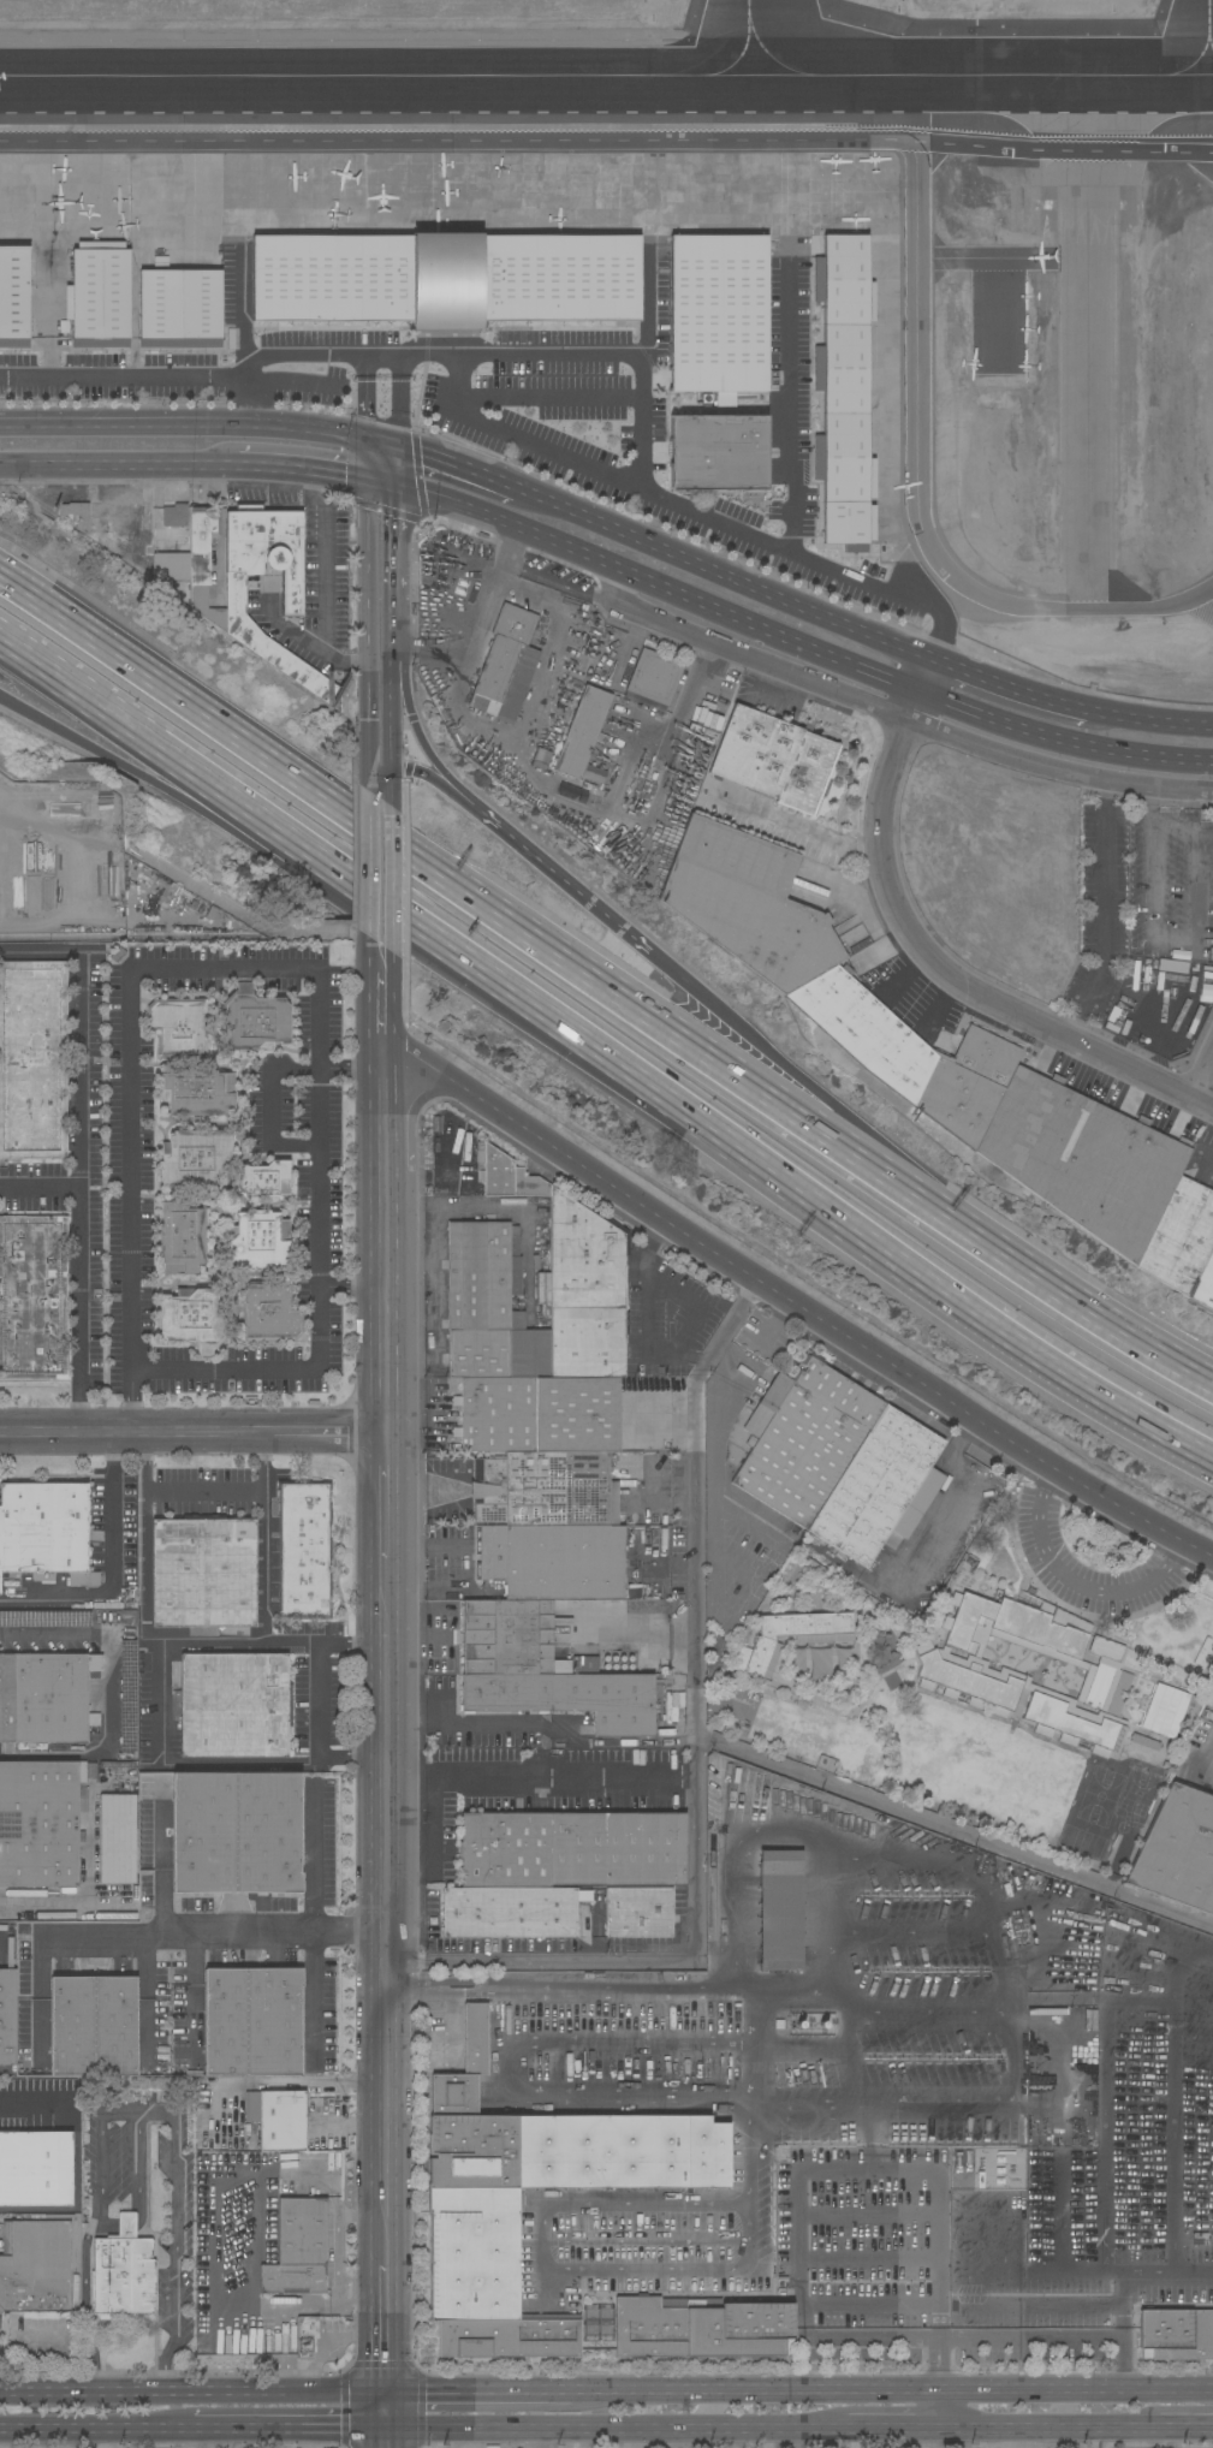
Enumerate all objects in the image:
airport taxiway: (751, 38)
airport taxiway: (1208, 42)
airport taxiway: (606, 77)
road: (813, 144)
airport: (674, 272)
building: (445, 279)
building: (16, 295)
building: (99, 295)
road: (641, 304)
building: (180, 307)
road: (243, 314)
building: (718, 315)
road: (381, 360)
road: (291, 384)
building: (844, 388)
road: (365, 400)
road: (549, 402)
road: (244, 403)
road: (790, 404)
road: (398, 405)
road: (184, 426)
traffic signals: (367, 442)
road: (382, 447)
traffic signals: (398, 452)
building: (719, 452)
road: (367, 464)
road: (119, 467)
road: (457, 469)
road: (303, 471)
road: (398, 473)
traffic signals: (367, 486)
road: (382, 489)
traffic signals: (398, 494)
road: (102, 498)
road: (698, 513)
building: (174, 516)
building: (77, 518)
road: (396, 537)
road: (327, 559)
building: (186, 564)
parking lot: (313, 570)
road: (724, 576)
road: (557, 582)
road: (658, 592)
building: (291, 593)
road: (392, 625)
road: (367, 637)
road: (308, 643)
building: (506, 666)
building: (654, 677)
road: (924, 677)
road: (399, 689)
road: (1009, 689)
building: (440, 706)
road: (894, 714)
road: (388, 720)
road: (1150, 721)
road: (495, 729)
building: (582, 731)
road: (147, 733)
road: (420, 735)
road: (77, 739)
road: (1062, 742)
building: (772, 759)
building: (540, 760)
road: (377, 770)
traffic signals: (388, 771)
road: (417, 773)
road: (623, 773)
road: (439, 774)
road: (388, 789)
road: (224, 808)
road: (368, 867)
road: (4, 879)
road: (390, 880)
road: (561, 884)
building: (748, 902)
road: (471, 903)
road: (1106, 914)
parking lot: (1147, 926)
road: (1176, 952)
road: (37, 959)
road: (272, 970)
road: (944, 973)
road: (368, 994)
road: (391, 999)
building: (255, 1020)
building: (1113, 1022)
building: (179, 1027)
building: (910, 1054)
building: (32, 1060)
road: (78, 1076)
road: (277, 1076)
road: (1205, 1082)
building: (198, 1093)
road: (817, 1094)
road: (412, 1110)
road: (749, 1152)
building: (195, 1158)
building: (1083, 1159)
building: (266, 1178)
road: (130, 1200)
road: (486, 1210)
building: (1181, 1237)
building: (182, 1238)
building: (258, 1241)
road: (81, 1272)
building: (573, 1274)
building: (1203, 1284)
road: (351, 1288)
building: (34, 1297)
road: (795, 1303)
building: (489, 1306)
road: (1077, 1311)
building: (269, 1312)
road: (320, 1314)
building: (195, 1318)
road: (774, 1324)
road: (646, 1349)
road: (690, 1356)
building: (539, 1415)
road: (191, 1431)
building: (804, 1439)
road: (263, 1462)
building: (880, 1489)
building: (546, 1490)
road: (174, 1491)
road: (424, 1491)
road: (962, 1495)
building: (44, 1531)
park: (1098, 1544)
building: (304, 1550)
building: (554, 1562)
road: (466, 1565)
road: (668, 1565)
road: (266, 1568)
road: (109, 1571)
road: (147, 1571)
building: (203, 1573)
road: (1076, 1582)
building: (676, 1600)
building: (977, 1603)
building: (811, 1627)
building: (961, 1635)
building: (1039, 1639)
building: (1106, 1650)
road: (383, 1654)
building: (762, 1659)
building: (543, 1671)
building: (970, 1677)
building: (1010, 1687)
building: (1107, 1689)
road: (107, 1694)
building: (44, 1699)
road: (160, 1704)
building: (233, 1705)
road: (320, 1705)
building: (1165, 1711)
road: (447, 1715)
building: (1063, 1715)
building: (1143, 1745)
road: (697, 1769)
road: (541, 1781)
building: (132, 1788)
building: (40, 1825)
road: (434, 1826)
building: (206, 1832)
building: (268, 1832)
road: (956, 1832)
building: (117, 1840)
building: (572, 1849)
building: (1178, 1850)
road: (309, 1860)
road: (163, 1871)
building: (780, 1911)
building: (511, 1912)
building: (638, 1914)
road: (191, 1942)
road: (457, 1980)
road: (408, 1989)
road: (457, 1994)
road: (151, 2001)
road: (190, 2001)
road: (34, 2002)
road: (310, 2004)
building: (7, 2018)
building: (274, 2021)
building: (226, 2022)
building: (115, 2025)
building: (73, 2026)
road: (630, 2043)
building: (25, 2058)
road: (756, 2084)
road: (29, 2099)
building: (910, 2101)
road: (1171, 2107)
building: (278, 2119)
road: (751, 2147)
road: (101, 2151)
building: (36, 2169)
building: (578, 2173)
road: (173, 2185)
road: (123, 2224)
road: (648, 2236)
road: (1058, 2242)
building: (298, 2248)
building: (35, 2266)
road: (546, 2270)
building: (123, 2271)
road: (1166, 2271)
building: (73, 2288)
road: (85, 2301)
road: (1119, 2305)
road: (381, 2329)
building: (702, 2329)
building: (1176, 2335)
building: (307, 2336)
road: (870, 2340)
road: (1029, 2340)
road: (945, 2365)
road: (932, 2366)
road: (1123, 2366)
traffic signals: (382, 2393)
road: (477, 2393)
road: (751, 2393)
road: (191, 2394)
road: (1072, 2394)
road: (934, 2412)
road: (382, 2420)
road: (1048, 2429)
road: (1187, 2429)
road: (95, 2430)
road: (286, 2430)
traffic signals: (382, 2430)
road: (659, 2430)
road: (537, 2438)
road: (1022, 2438)
road: (1098, 2438)
road: (1171, 2438)
road: (191, 2440)

